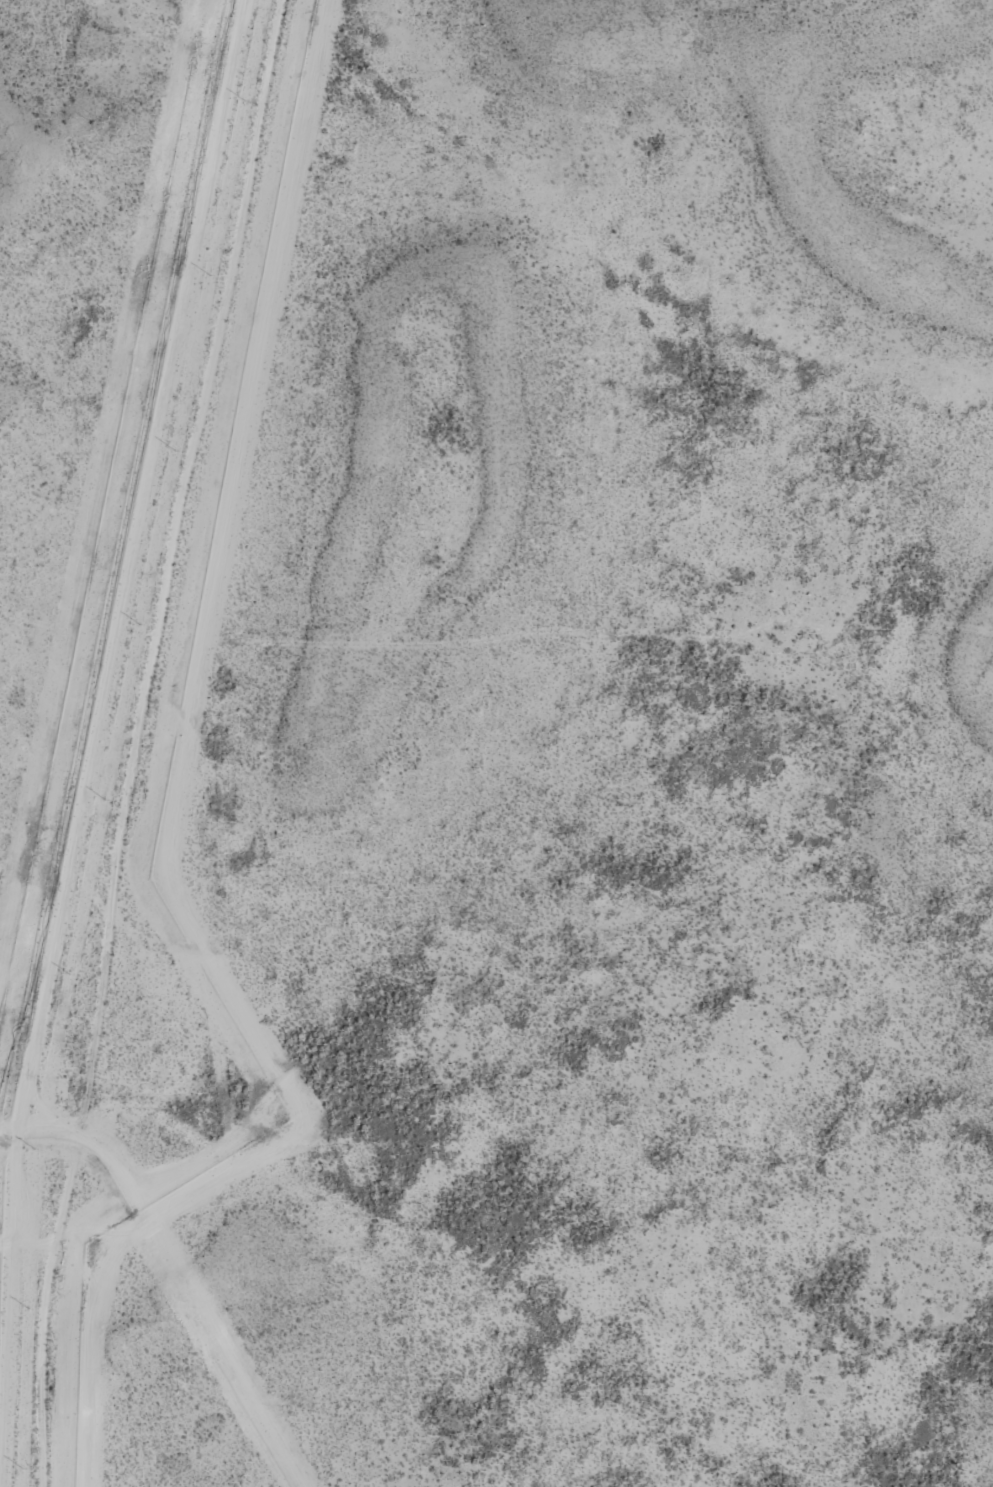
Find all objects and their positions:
road: (129, 737)

